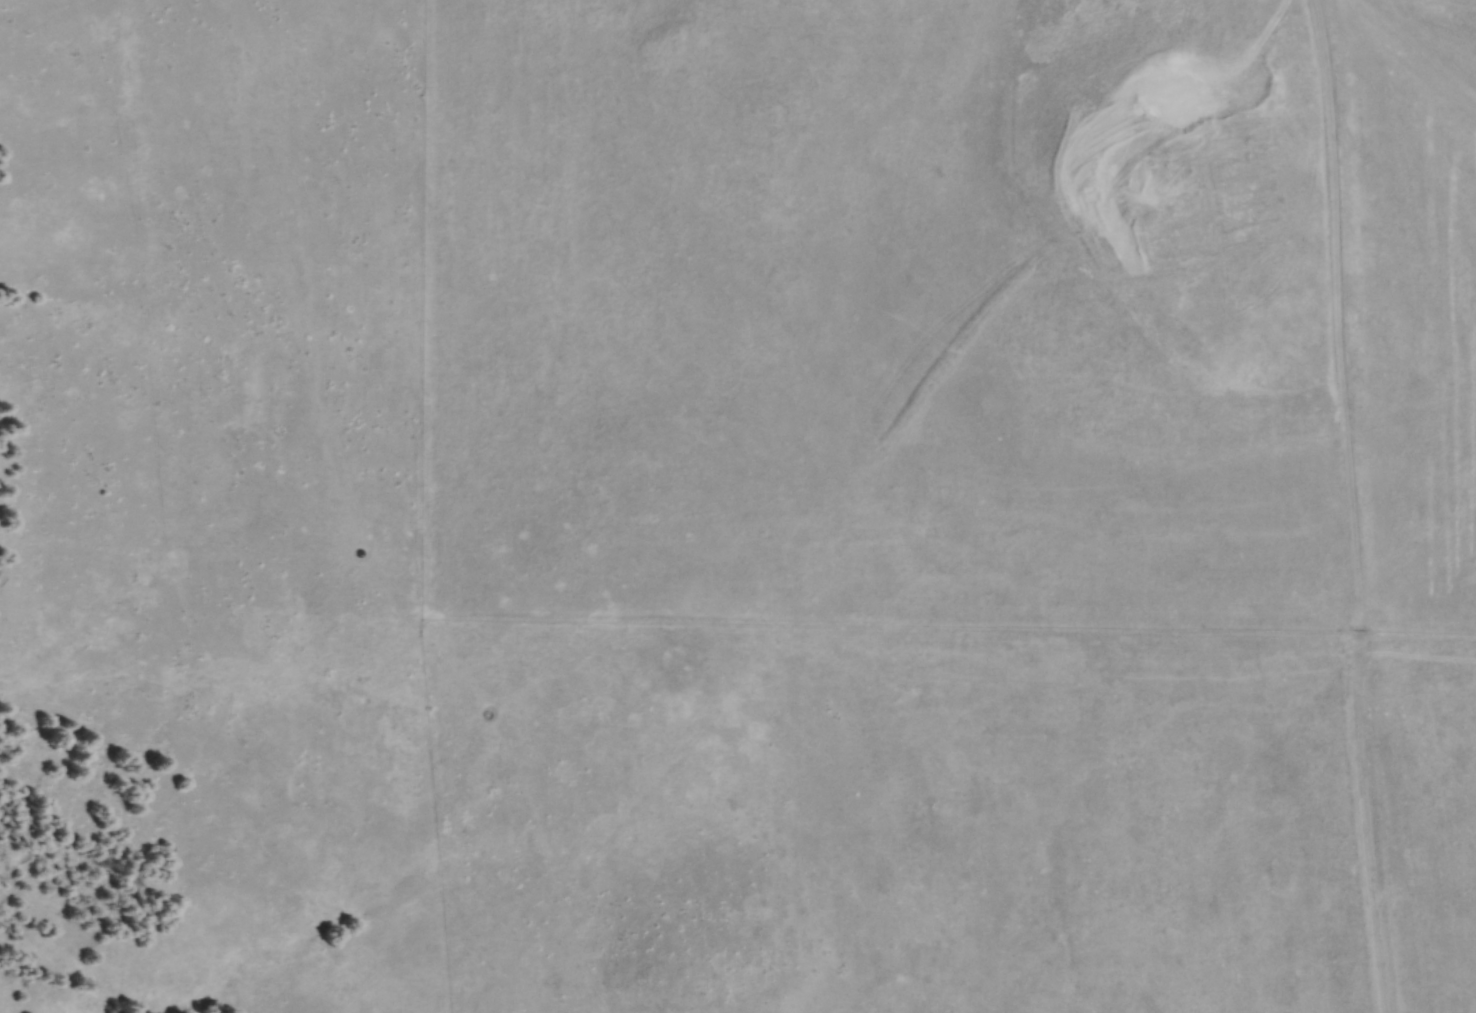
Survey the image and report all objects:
road: (1353, 506)

